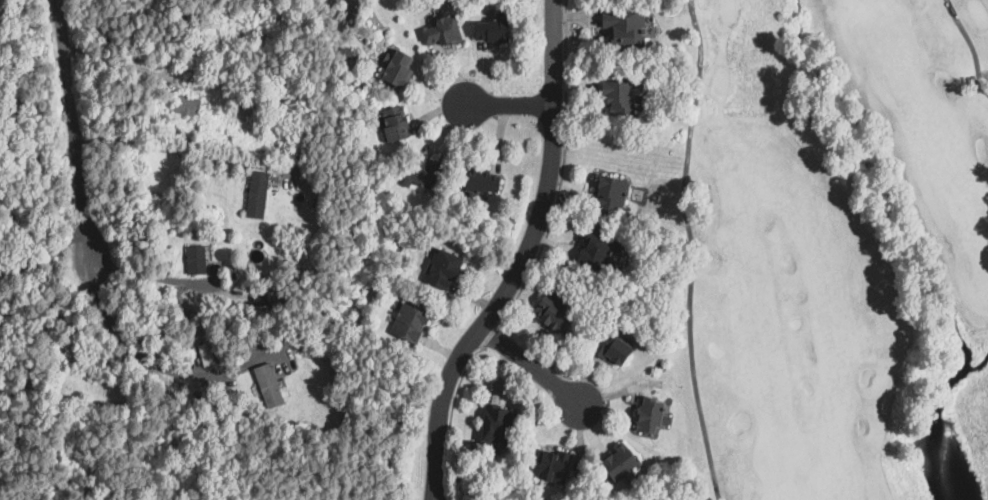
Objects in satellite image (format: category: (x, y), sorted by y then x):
building: (618, 29)
building: (647, 29)
building: (494, 31)
building: (446, 32)
road: (117, 61)
building: (403, 70)
building: (613, 99)
road: (508, 104)
building: (188, 106)
building: (399, 125)
road: (73, 128)
road: (170, 148)
building: (430, 170)
building: (486, 180)
building: (613, 192)
building: (259, 194)
park: (833, 249)
building: (599, 251)
road: (43, 253)
road: (522, 259)
building: (197, 260)
building: (448, 268)
road: (147, 278)
building: (262, 299)
building: (559, 308)
building: (414, 322)
road: (126, 346)
building: (616, 348)
building: (207, 355)
road: (532, 364)
building: (270, 385)
building: (652, 414)
building: (501, 425)
building: (624, 461)
building: (554, 465)

